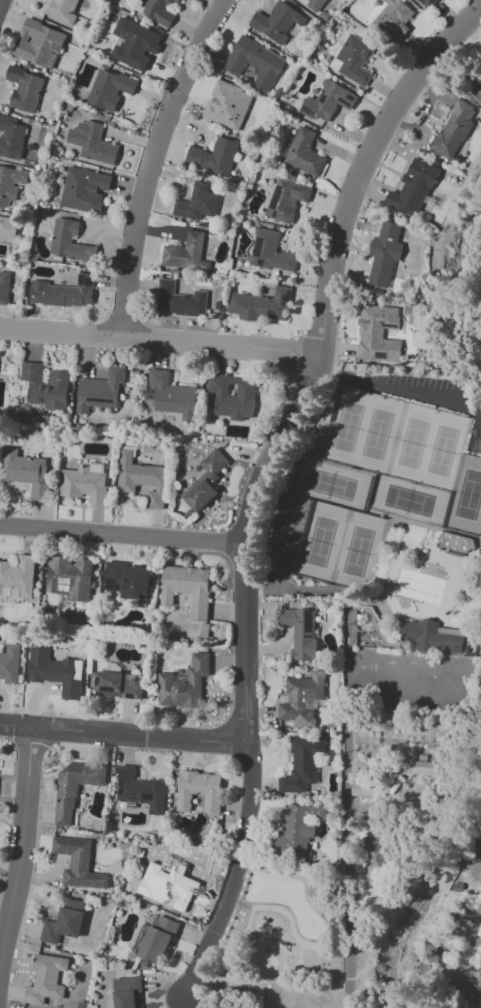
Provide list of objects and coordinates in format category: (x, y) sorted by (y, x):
building: (177, 0)
building: (312, 0)
building: (433, 2)
road: (3, 6)
building: (63, 10)
building: (156, 11)
building: (396, 11)
building: (276, 23)
building: (41, 43)
rooftop solar panel: (56, 44)
building: (136, 46)
rooftop solar panel: (51, 61)
building: (356, 61)
building: (255, 62)
building: (116, 83)
building: (22, 88)
building: (478, 91)
building: (329, 101)
building: (229, 106)
building: (454, 126)
building: (12, 137)
building: (94, 143)
building: (304, 152)
building: (215, 158)
road: (157, 161)
building: (12, 186)
building: (83, 188)
building: (418, 188)
rooftop solar panel: (275, 193)
building: (288, 199)
building: (199, 206)
building: (8, 228)
rooftop solar panel: (260, 236)
building: (67, 240)
rooftop solar panel: (258, 251)
building: (185, 253)
building: (272, 253)
building: (385, 253)
rooftop solar panel: (262, 261)
building: (5, 285)
building: (66, 292)
building: (178, 301)
building: (261, 306)
rooftop solar panel: (273, 313)
rooftop solar panel: (390, 325)
building: (379, 333)
road: (159, 339)
rooftop solar panel: (381, 355)
road: (318, 358)
building: (44, 387)
building: (102, 389)
road: (403, 389)
building: (172, 395)
building: (232, 395)
parking lot: (425, 397)
park: (347, 425)
park: (380, 431)
park: (411, 441)
park: (443, 450)
building: (216, 463)
building: (29, 471)
building: (143, 478)
park: (333, 482)
building: (86, 483)
building: (200, 498)
park: (465, 500)
park: (407, 502)
parking lot: (290, 531)
road: (123, 532)
road: (279, 538)
park: (322, 538)
building: (456, 542)
road: (295, 549)
park: (358, 554)
building: (20, 576)
building: (69, 580)
building: (129, 581)
rooftop solar panel: (129, 581)
rooftop solar panel: (115, 584)
rooftop solar panel: (128, 587)
building: (189, 588)
rooftop solar panel: (309, 620)
building: (302, 634)
rooftop solar panel: (309, 636)
building: (434, 636)
building: (10, 664)
building: (57, 672)
parking lot: (416, 679)
rooftop solar panel: (99, 681)
road: (464, 683)
building: (121, 684)
building: (185, 684)
rooftop solar panel: (109, 690)
building: (307, 701)
road: (122, 733)
road: (346, 747)
building: (0, 762)
building: (303, 765)
building: (423, 767)
rooftop solar panel: (123, 774)
rooftop solar panel: (121, 787)
building: (364, 789)
building: (74, 790)
building: (142, 791)
building: (200, 792)
rooftop solar panel: (148, 795)
building: (296, 831)
road: (21, 841)
building: (375, 854)
building: (80, 863)
road: (236, 874)
building: (180, 876)
road: (288, 917)
road: (248, 918)
building: (63, 922)
park: (284, 922)
building: (159, 940)
road: (299, 957)
building: (402, 967)
building: (480, 974)
building: (47, 979)
building: (130, 991)

